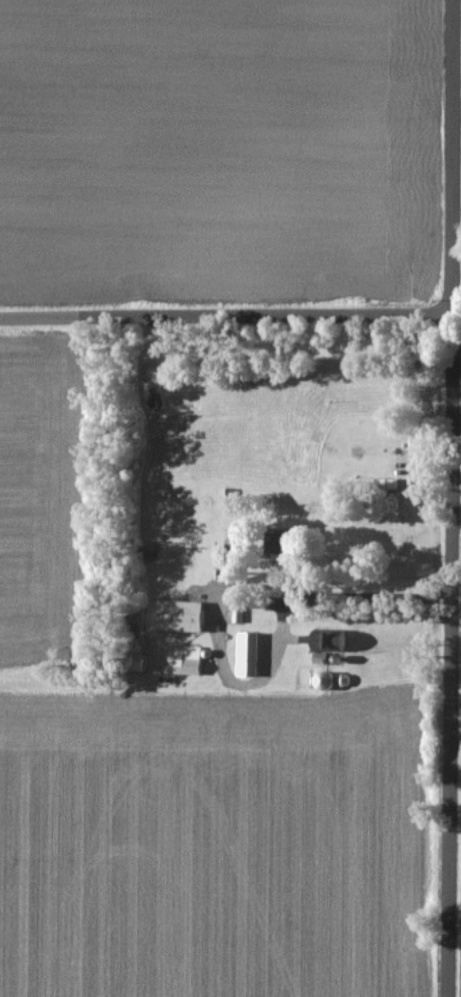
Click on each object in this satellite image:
road: (458, 311)
road: (227, 313)
building: (372, 484)
road: (451, 498)
road: (344, 597)
building: (176, 616)
building: (245, 654)
building: (185, 660)
building: (130, 662)

